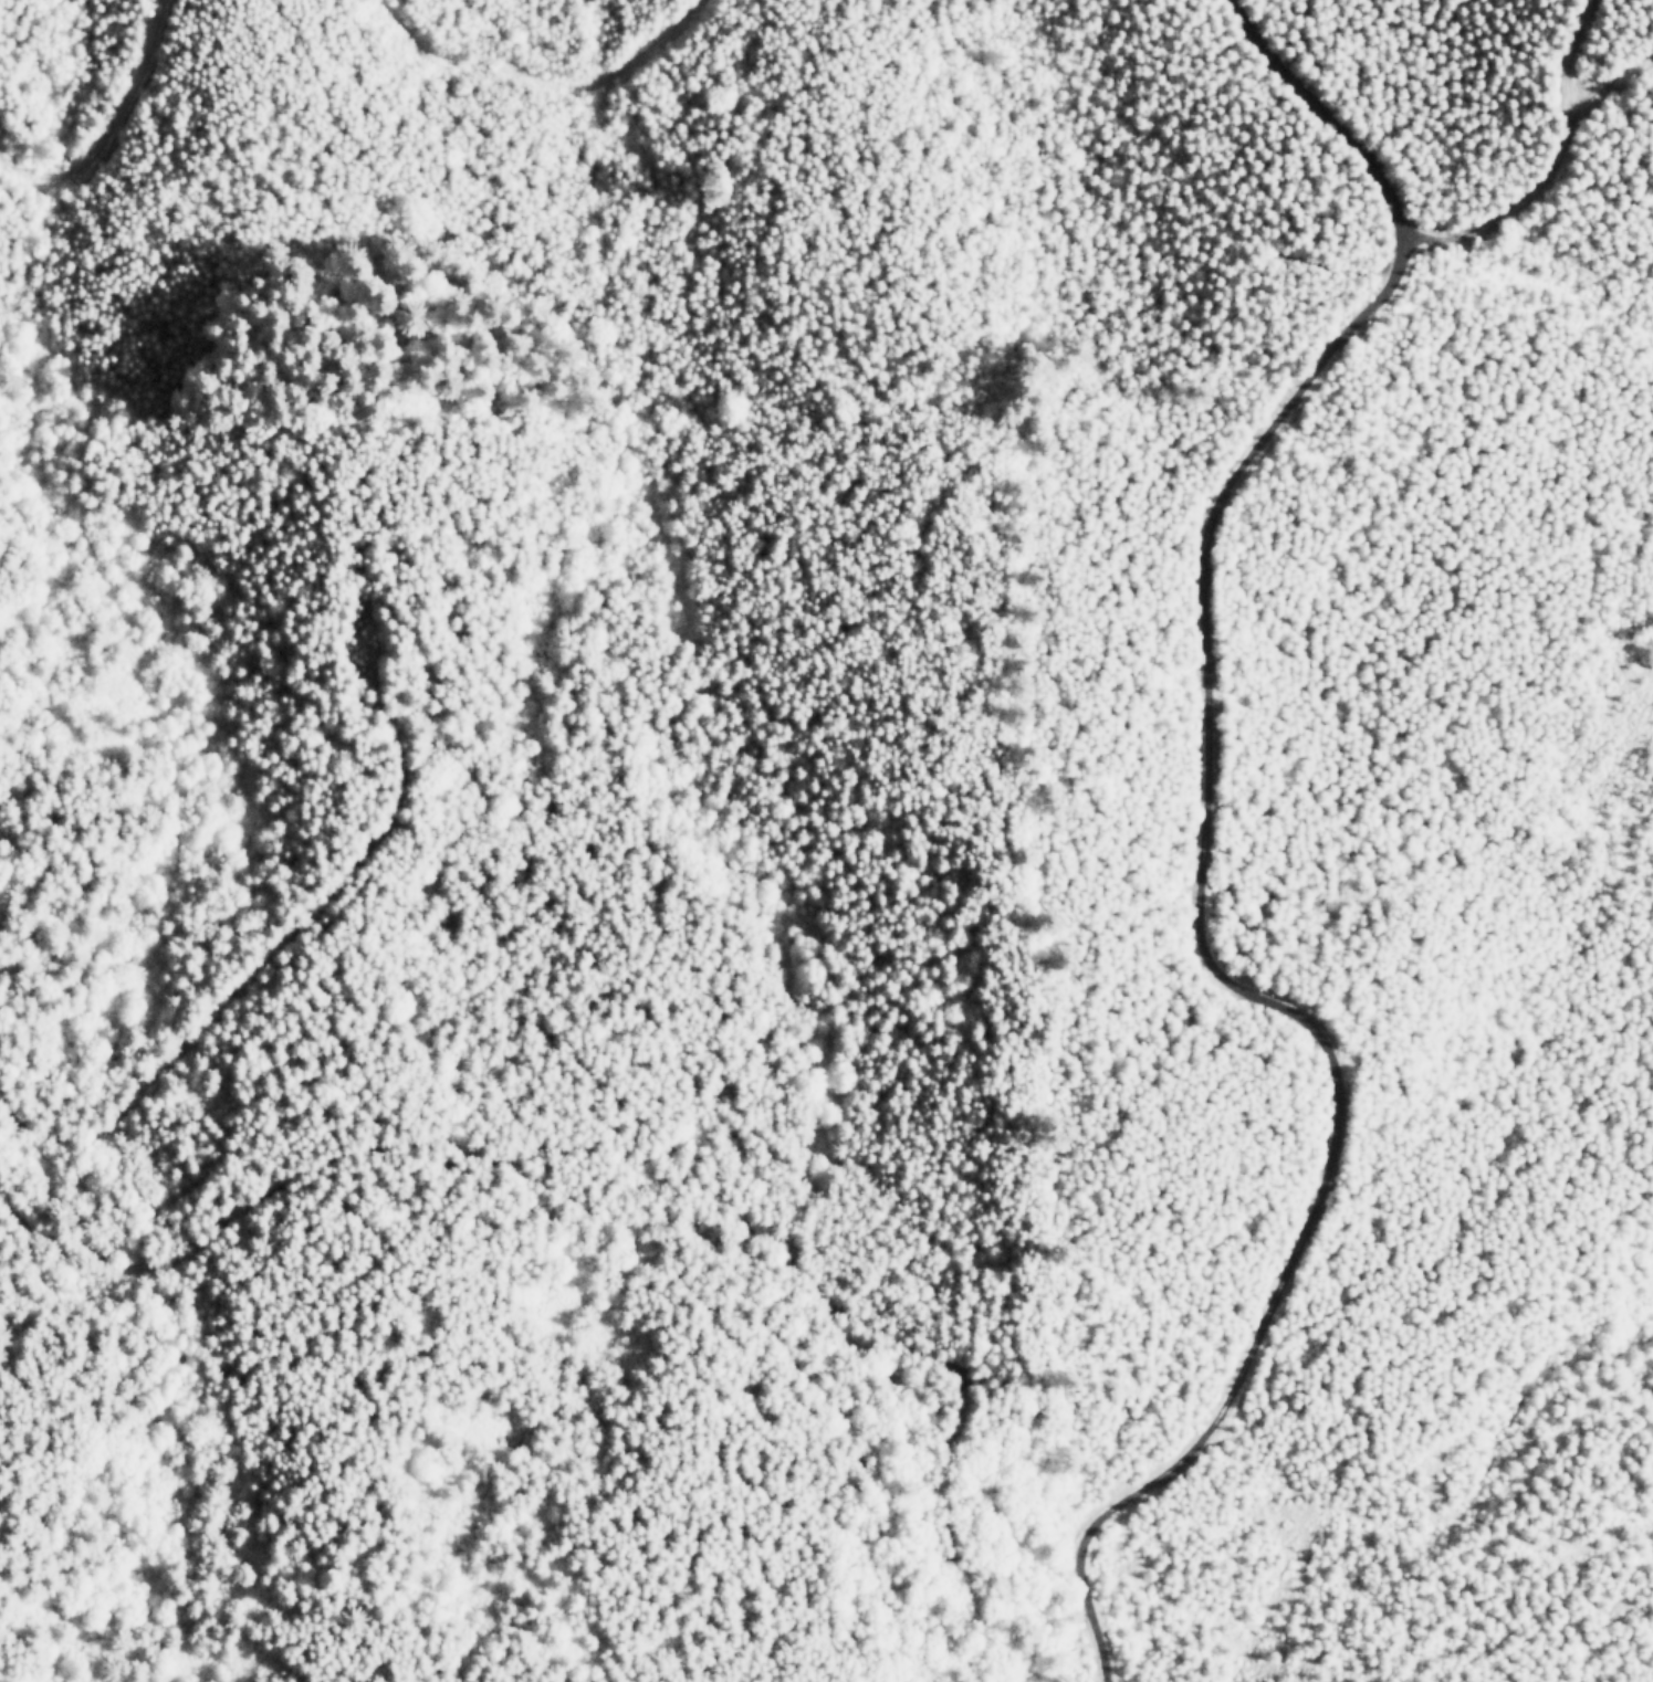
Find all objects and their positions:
road: (547, 80)
road: (112, 130)
road: (1204, 868)

